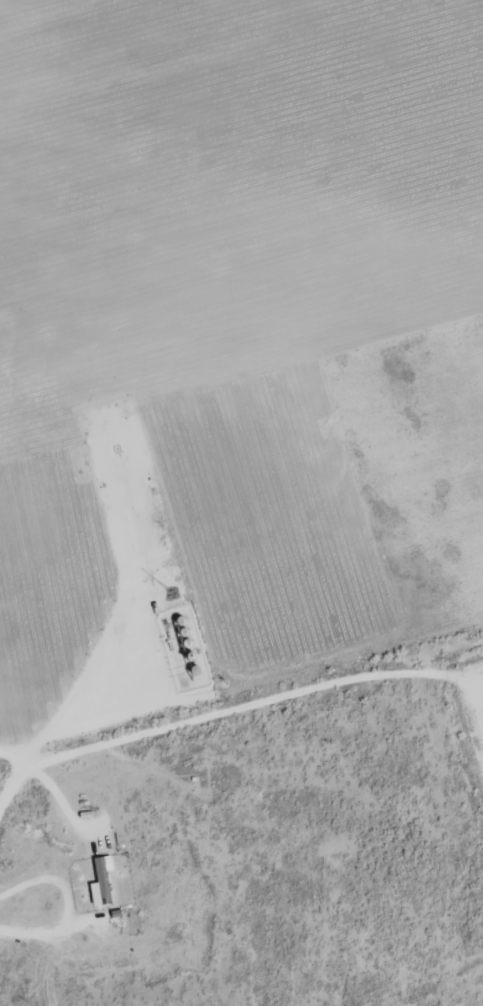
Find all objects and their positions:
road: (12, 780)

